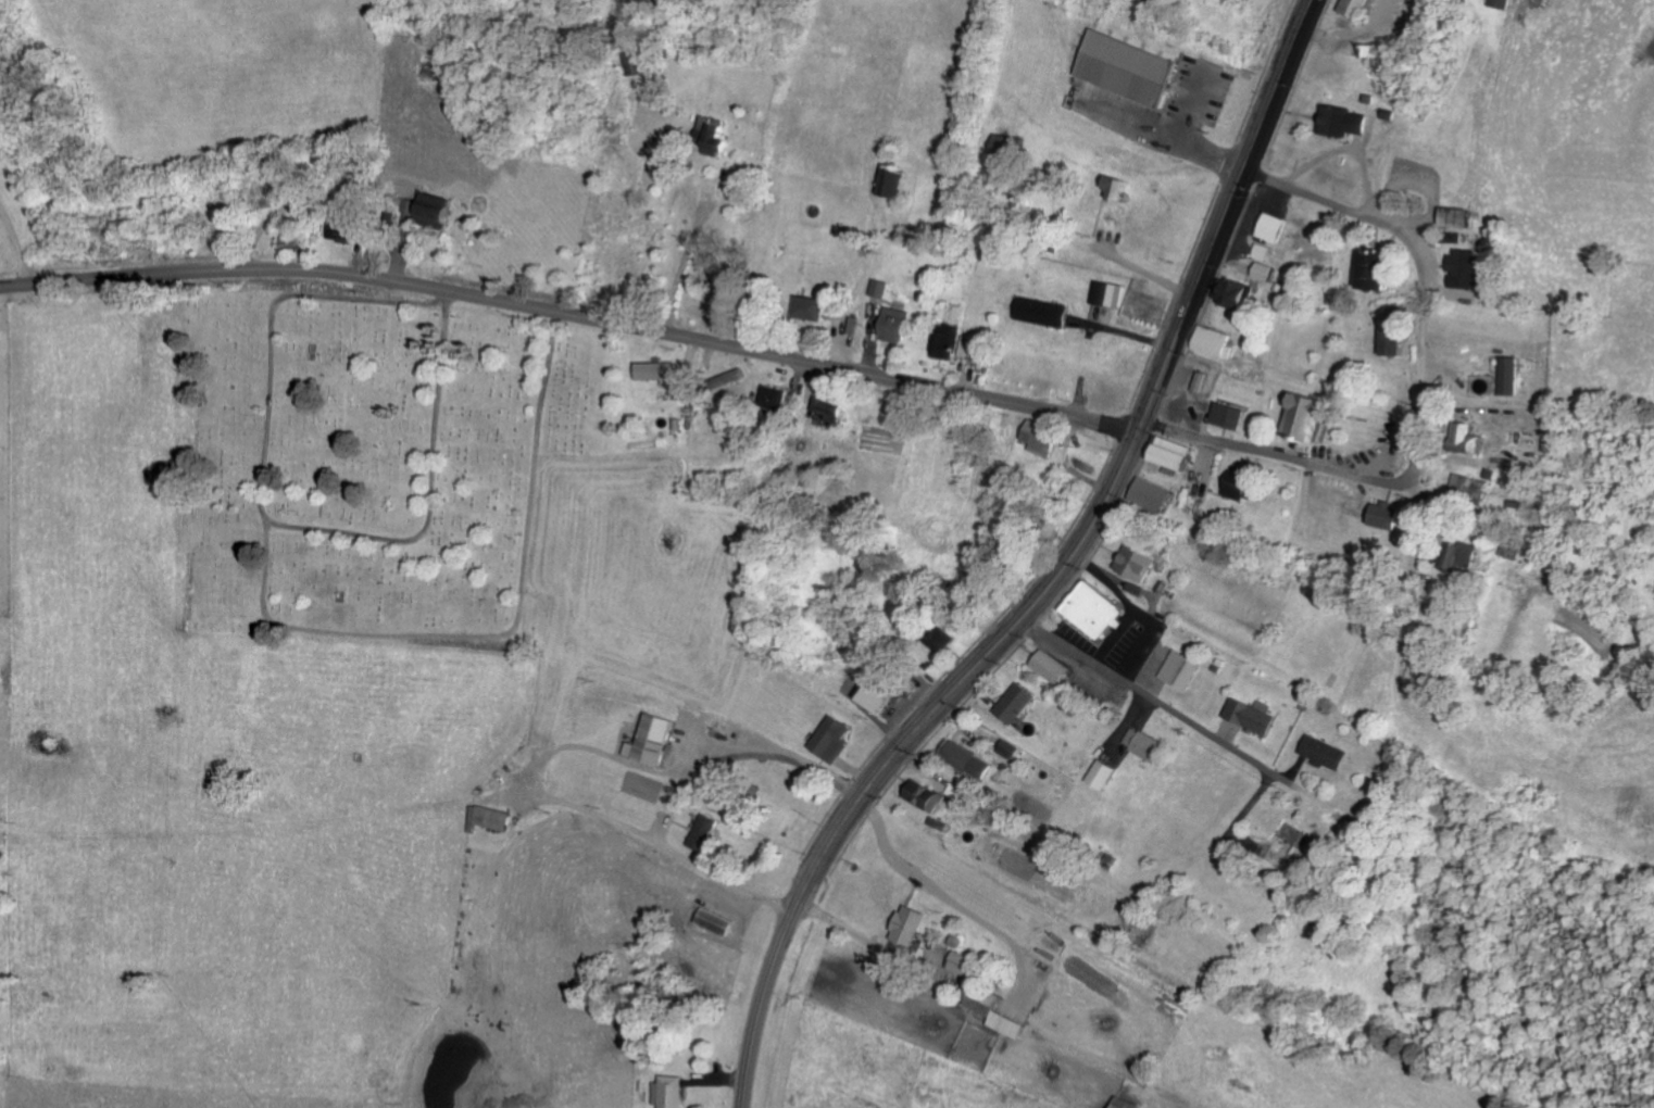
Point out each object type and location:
building: (1517, 0)
building: (1503, 2)
building: (1357, 8)
building: (1369, 50)
building: (1132, 66)
building: (1345, 121)
building: (721, 133)
building: (898, 180)
building: (440, 209)
building: (1465, 216)
building: (1277, 226)
building: (348, 229)
building: (1265, 251)
building: (1466, 267)
building: (1379, 268)
building: (1266, 270)
building: (885, 287)
building: (1238, 291)
building: (1111, 292)
road: (1450, 298)
building: (814, 307)
building: (1050, 312)
road: (573, 313)
building: (900, 324)
building: (951, 341)
building: (1395, 341)
building: (977, 347)
building: (661, 370)
building: (1514, 375)
building: (1205, 380)
building: (777, 395)
building: (834, 408)
building: (1311, 413)
building: (1232, 415)
building: (1044, 438)
building: (1480, 443)
building: (1179, 453)
park: (373, 463)
road: (1370, 476)
building: (1245, 484)
building: (1155, 493)
building: (1388, 514)
building: (1515, 550)
building: (1475, 558)
building: (1140, 562)
road: (1058, 577)
road: (1474, 582)
building: (1099, 608)
building: (1055, 666)
building: (1183, 668)
building: (888, 697)
building: (1019, 702)
road: (1619, 708)
road: (1506, 714)
building: (1255, 716)
building: (837, 738)
building: (659, 740)
building: (1146, 743)
building: (1012, 748)
building: (1327, 752)
building: (975, 759)
building: (1106, 773)
road: (1326, 794)
building: (927, 795)
building: (494, 818)
building: (709, 831)
building: (721, 921)
building: (914, 924)
building: (969, 964)
building: (1004, 1016)
building: (674, 1091)
building: (1119, 1103)

